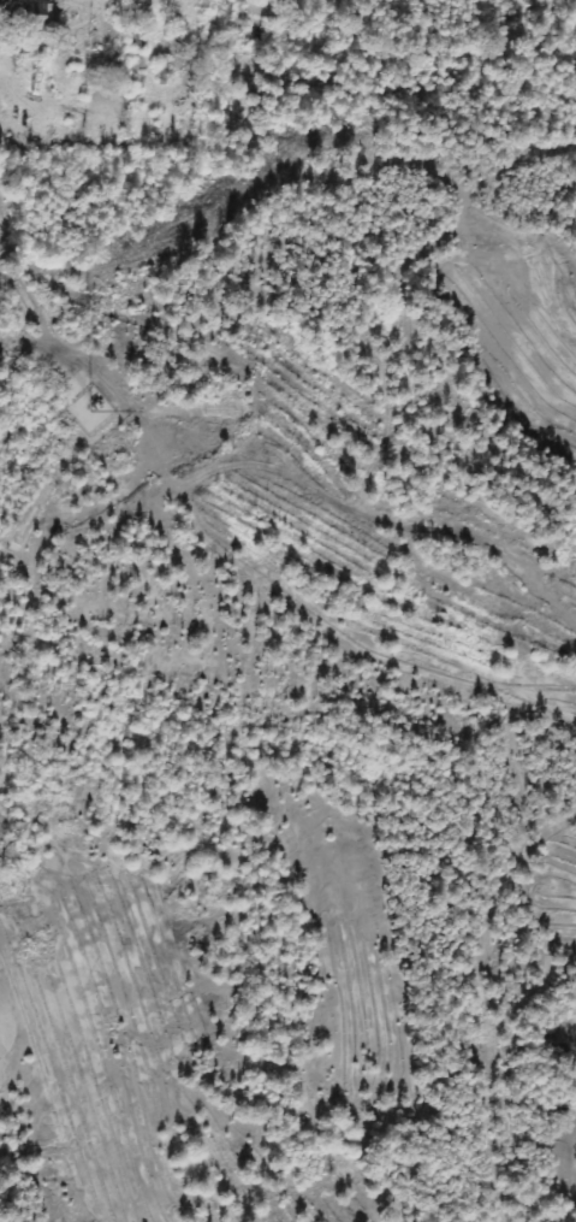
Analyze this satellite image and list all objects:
building: (73, 7)
building: (34, 13)

